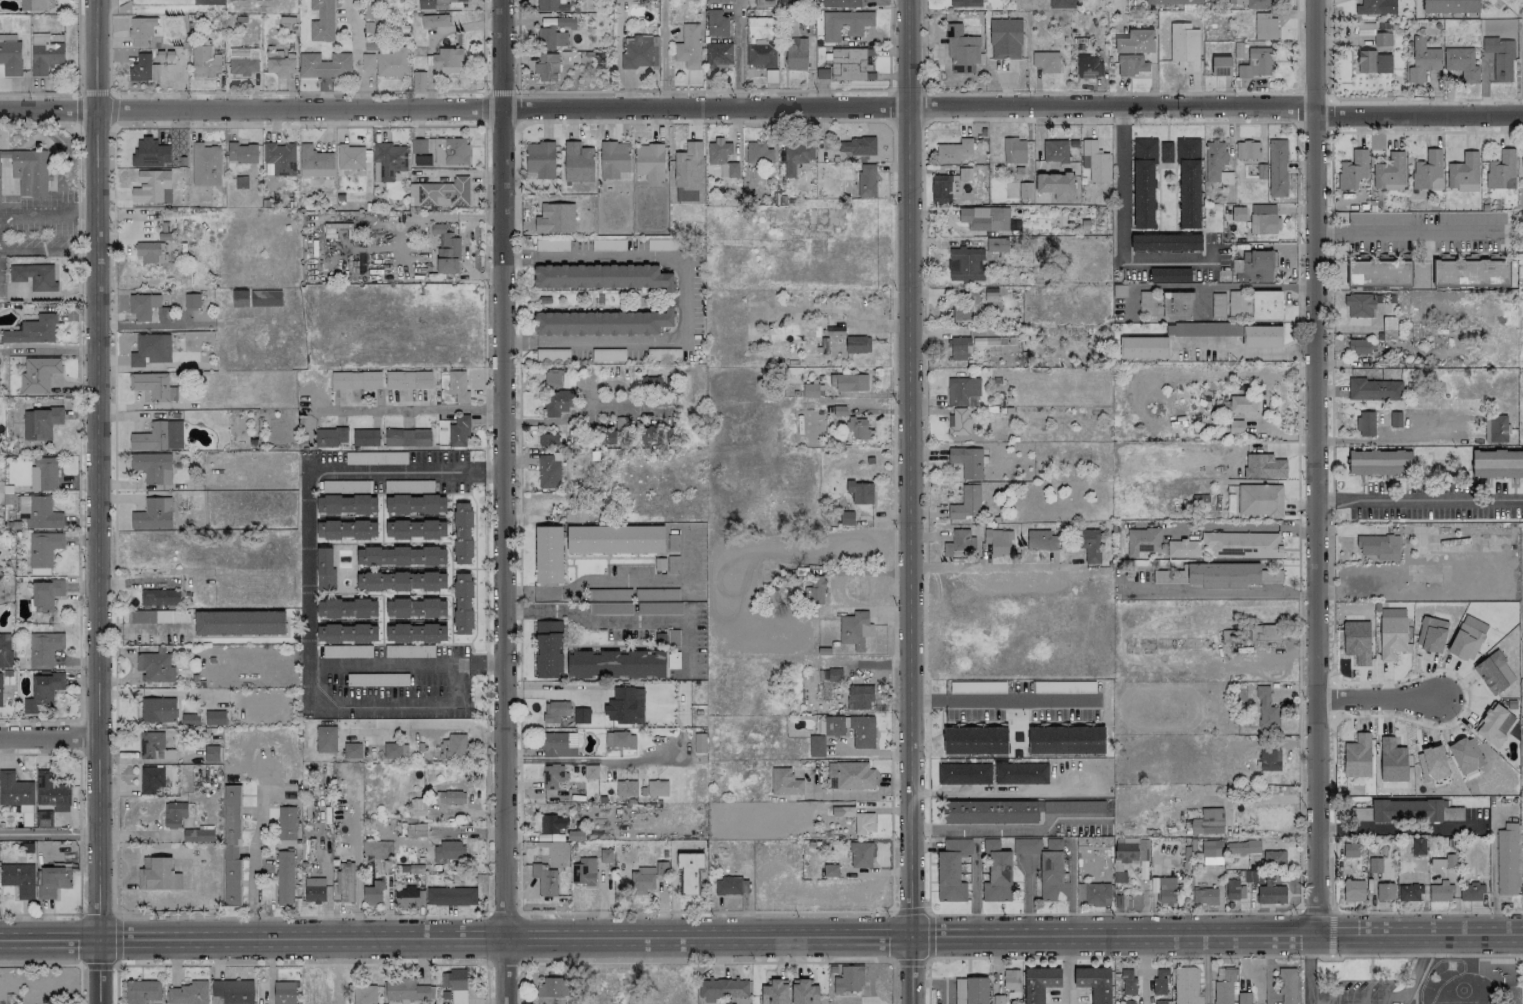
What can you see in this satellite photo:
building: (232, 0)
building: (717, 1)
building: (1174, 2)
building: (840, 3)
building: (1254, 3)
building: (435, 4)
building: (1061, 4)
building: (32, 5)
building: (551, 5)
building: (1449, 5)
building: (1376, 7)
road: (361, 13)
building: (321, 21)
building: (434, 21)
building: (716, 23)
building: (845, 24)
building: (1265, 27)
building: (140, 30)
building: (550, 36)
building: (7, 37)
building: (1005, 39)
building: (1382, 39)
building: (1176, 40)
building: (1135, 41)
building: (760, 43)
road: (76, 45)
road: (483, 45)
road: (890, 45)
road: (517, 46)
building: (687, 48)
building: (1191, 48)
building: (963, 50)
building: (640, 52)
road: (737, 53)
building: (44, 54)
building: (796, 54)
building: (718, 55)
building: (10, 58)
road: (354, 58)
building: (1500, 58)
building: (204, 60)
building: (446, 60)
building: (1422, 60)
building: (243, 61)
building: (1046, 61)
building: (279, 62)
building: (367, 62)
building: (393, 62)
building: (1373, 62)
building: (1256, 63)
building: (1461, 63)
building: (850, 64)
building: (1131, 65)
building: (324, 66)
building: (1220, 66)
building: (547, 67)
building: (1089, 67)
building: (140, 68)
road: (92, 90)
road: (705, 90)
road: (250, 92)
road: (484, 92)
road: (762, 107)
road: (76, 110)
road: (113, 111)
road: (1292, 122)
road: (519, 125)
building: (857, 146)
building: (1014, 150)
building: (1247, 150)
building: (953, 151)
building: (1055, 151)
building: (718, 152)
building: (1166, 152)
building: (150, 153)
building: (241, 153)
building: (439, 153)
building: (758, 153)
building: (350, 157)
building: (796, 157)
building: (280, 158)
building: (540, 159)
building: (613, 159)
building: (1214, 160)
building: (388, 161)
building: (649, 161)
building: (315, 162)
building: (578, 162)
building: (1094, 162)
building: (1522, 162)
building: (205, 165)
building: (1277, 168)
building: (732, 169)
building: (1353, 169)
building: (28, 170)
building: (1389, 171)
building: (1427, 171)
building: (1501, 171)
building: (687, 172)
building: (1463, 173)
building: (866, 180)
building: (1143, 182)
building: (1188, 183)
building: (1056, 185)
building: (948, 186)
building: (152, 188)
building: (1022, 192)
building: (440, 193)
road: (46, 210)
building: (1238, 213)
building: (555, 218)
building: (1377, 218)
building: (1471, 218)
building: (985, 219)
building: (1263, 219)
road: (1123, 230)
road: (1408, 234)
building: (1165, 242)
building: (996, 245)
building: (444, 249)
building: (151, 252)
building: (966, 264)
building: (1255, 266)
building: (1378, 273)
building: (1470, 273)
building: (34, 276)
building: (601, 277)
road: (1227, 286)
road: (682, 297)
building: (239, 298)
building: (265, 298)
building: (191, 301)
building: (1255, 304)
building: (1166, 305)
building: (1359, 305)
building: (142, 306)
building: (1218, 306)
building: (960, 315)
building: (601, 323)
road: (879, 326)
building: (1389, 328)
building: (32, 330)
building: (834, 330)
building: (1233, 332)
road: (114, 337)
building: (858, 344)
building: (1358, 346)
building: (1143, 347)
building: (958, 348)
building: (150, 350)
road: (1244, 351)
building: (38, 374)
building: (409, 379)
building: (552, 379)
building: (356, 380)
building: (650, 382)
building: (849, 382)
building: (153, 386)
building: (458, 386)
building: (810, 390)
building: (961, 390)
building: (1374, 390)
building: (558, 402)
building: (1242, 404)
road: (410, 408)
road: (550, 421)
building: (958, 421)
building: (40, 423)
building: (1365, 424)
road: (77, 425)
building: (1496, 428)
building: (858, 429)
building: (459, 431)
building: (654, 435)
building: (158, 437)
building: (329, 437)
building: (365, 437)
building: (407, 437)
building: (607, 437)
building: (548, 440)
road: (1382, 440)
building: (967, 462)
building: (1379, 462)
building: (1497, 464)
building: (155, 466)
building: (1264, 467)
road: (1315, 467)
building: (549, 470)
building: (44, 475)
building: (860, 492)
building: (1259, 500)
road: (1419, 500)
road: (96, 502)
road: (504, 502)
road: (910, 502)
building: (966, 503)
building: (346, 504)
building: (415, 504)
building: (43, 513)
building: (155, 515)
road: (484, 521)
road: (1244, 528)
building: (415, 529)
building: (346, 530)
building: (462, 533)
building: (615, 539)
building: (1041, 539)
building: (1143, 541)
building: (960, 542)
building: (998, 542)
building: (673, 544)
building: (1090, 545)
building: (1242, 545)
building: (1379, 547)
building: (43, 548)
building: (1183, 548)
building: (548, 555)
building: (401, 556)
road: (989, 565)
road: (308, 568)
building: (325, 569)
building: (0, 573)
building: (1222, 575)
road: (632, 579)
building: (401, 581)
road: (134, 582)
building: (815, 590)
road: (518, 592)
building: (45, 594)
road: (1221, 594)
building: (159, 598)
building: (462, 604)
building: (346, 608)
building: (415, 608)
road: (518, 612)
road: (632, 621)
building: (239, 623)
road: (140, 627)
building: (855, 630)
building: (346, 633)
building: (415, 633)
building: (1263, 633)
building: (1391, 633)
building: (1431, 635)
building: (1467, 638)
building: (1357, 641)
building: (44, 649)
building: (548, 649)
building: (5, 650)
building: (615, 664)
building: (154, 666)
building: (1490, 672)
building: (831, 675)
building: (46, 686)
building: (0, 690)
road: (546, 694)
road: (1381, 696)
building: (859, 697)
road: (1003, 699)
building: (625, 706)
building: (158, 710)
building: (1266, 710)
building: (555, 711)
building: (581, 715)
building: (214, 718)
building: (189, 719)
building: (1494, 724)
building: (852, 729)
road: (49, 737)
building: (325, 739)
building: (620, 740)
building: (975, 740)
building: (1065, 740)
building: (699, 742)
building: (558, 745)
building: (816, 745)
building: (152, 746)
building: (453, 747)
building: (352, 751)
building: (395, 751)
building: (211, 753)
building: (1465, 755)
building: (1357, 757)
building: (1269, 759)
road: (590, 760)
building: (1392, 761)
building: (1432, 763)
building: (591, 772)
building: (1020, 773)
building: (964, 774)
building: (853, 775)
building: (553, 776)
building: (150, 779)
building: (785, 782)
building: (626, 788)
building: (657, 788)
building: (14, 790)
road: (1004, 791)
building: (51, 792)
building: (450, 797)
road: (1262, 798)
building: (1068, 806)
building: (417, 807)
building: (1414, 810)
building: (989, 812)
building: (1360, 814)
building: (174, 815)
building: (856, 819)
building: (1206, 821)
building: (286, 823)
building: (553, 823)
road: (1400, 827)
road: (1011, 829)
building: (415, 830)
road: (77, 833)
road: (48, 834)
building: (201, 835)
road: (254, 843)
building: (231, 846)
building: (1418, 846)
building: (1243, 848)
building: (1211, 849)
building: (1131, 850)
building: (1350, 850)
building: (447, 851)
building: (861, 855)
building: (605, 856)
building: (1274, 859)
building: (1506, 860)
building: (1375, 865)
building: (1049, 868)
building: (830, 870)
building: (952, 870)
building: (583, 871)
building: (689, 873)
building: (997, 873)
building: (158, 874)
building: (284, 877)
building: (19, 879)
building: (544, 879)
building: (52, 881)
building: (346, 882)
building: (641, 882)
building: (731, 886)
road: (1493, 887)
building: (1522, 888)
building: (1234, 889)
building: (314, 890)
road: (674, 890)
road: (972, 890)
building: (1165, 890)
building: (1353, 890)
building: (1385, 891)
building: (1471, 892)
building: (374, 893)
building: (1409, 893)
building: (1440, 893)
building: (1093, 894)
building: (1271, 894)
building: (451, 896)
building: (1204, 896)
building: (406, 897)
road: (1026, 898)
road: (1330, 914)
road: (927, 935)
road: (761, 937)
road: (1202, 955)
road: (117, 959)
road: (1065, 969)
road: (1308, 969)
road: (1143, 970)
road: (1205, 970)
building: (849, 979)
building: (1010, 979)
building: (1128, 982)
building: (1159, 982)
building: (1039, 983)
building: (1094, 983)
building: (455, 985)
building: (1185, 985)
building: (1286, 986)
building: (552, 987)
building: (1224, 988)
building: (722, 989)
building: (405, 990)
building: (970, 990)
building: (142, 991)
building: (233, 991)
building: (284, 992)
building: (774, 992)
building: (805, 992)
building: (188, 993)
building: (364, 994)
road: (1388, 997)
building: (1244, 998)
building: (1130, 1002)
building: (1158, 1002)

